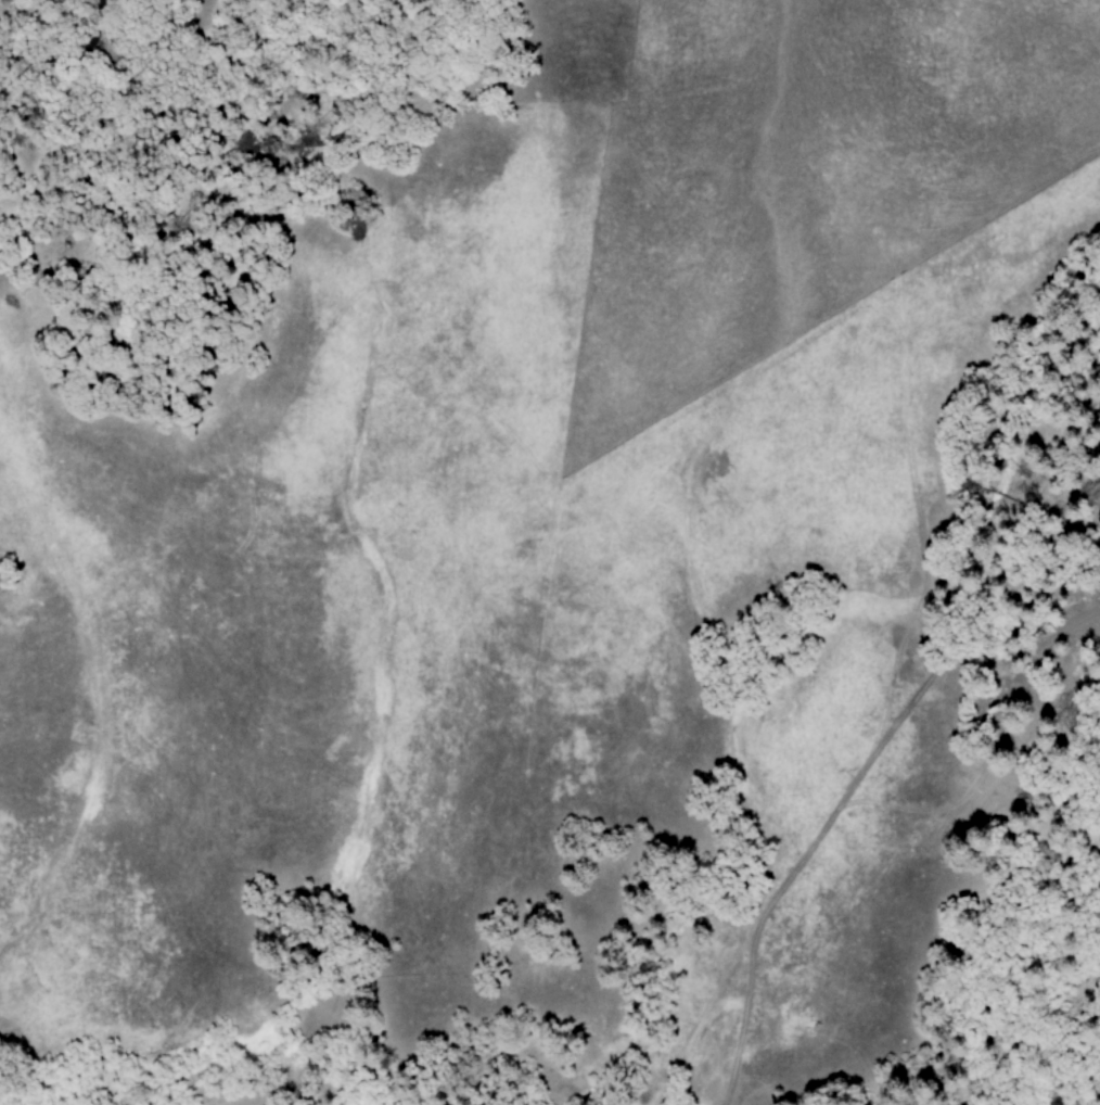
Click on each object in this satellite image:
road: (69, 55)

